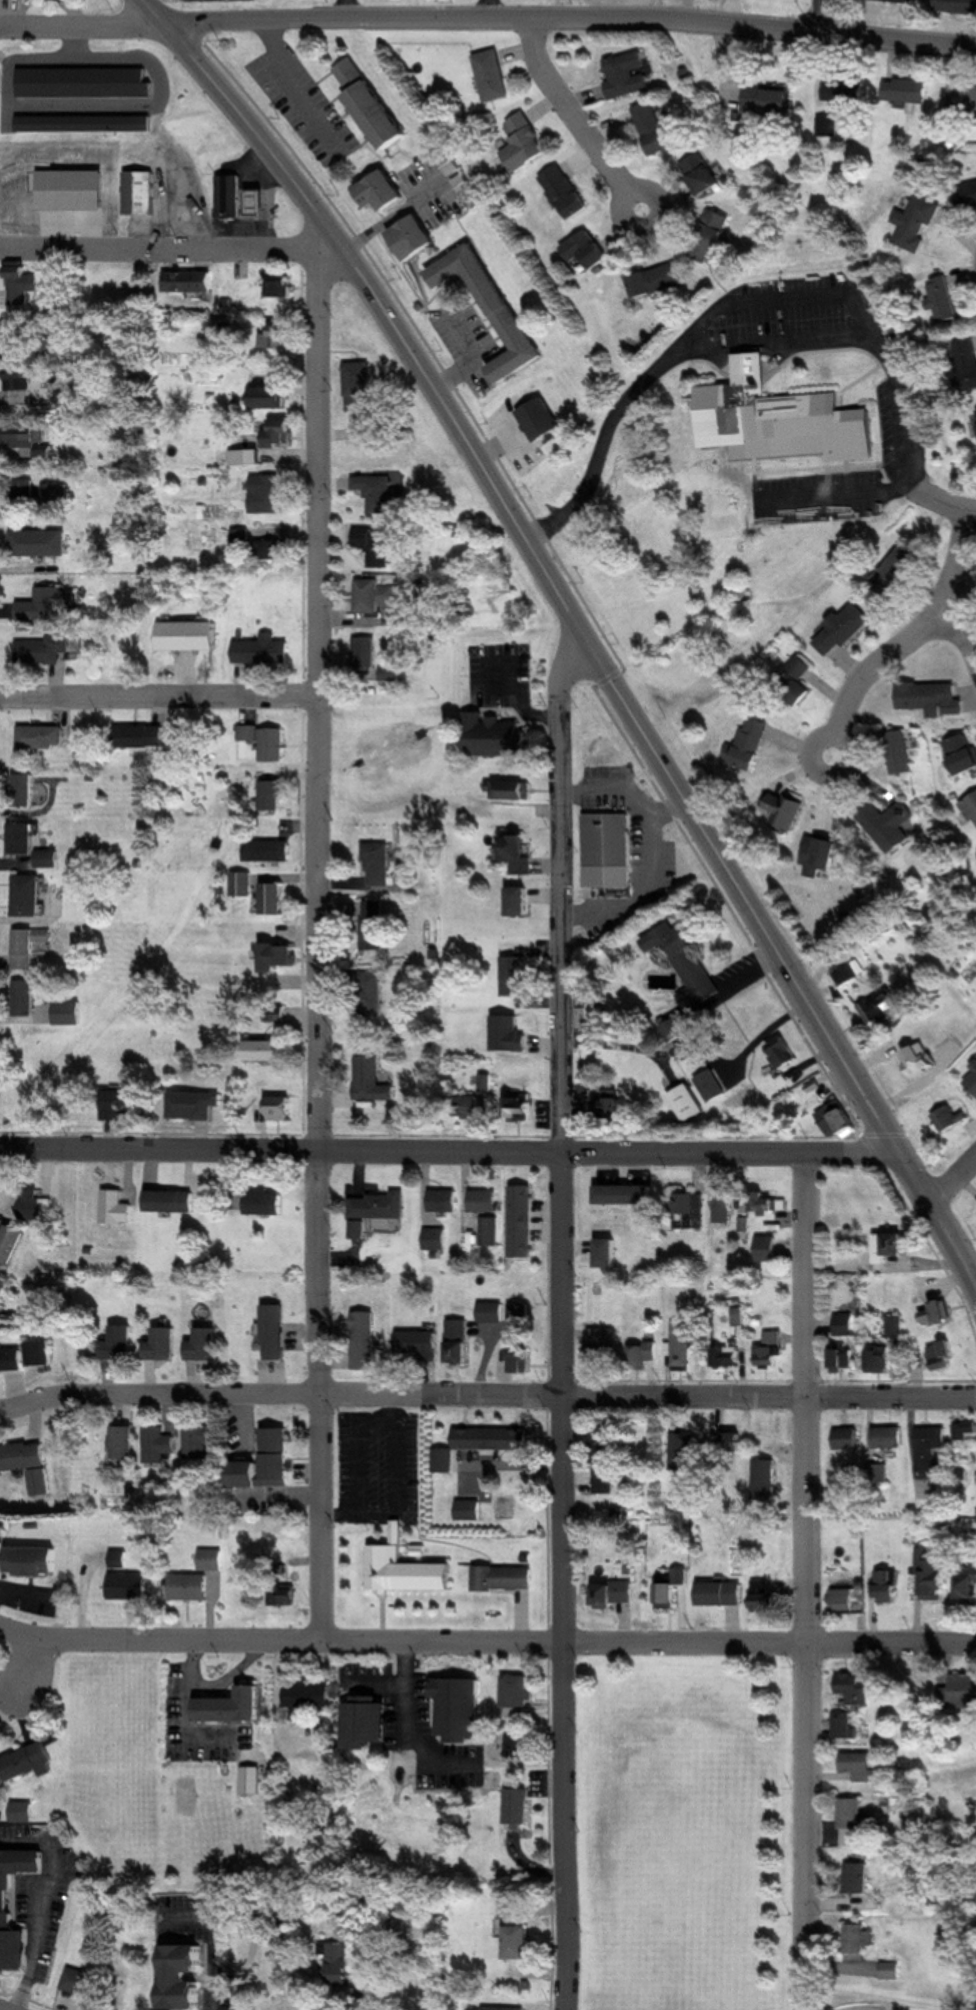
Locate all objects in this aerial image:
building: (893, 1)
building: (956, 7)
road: (827, 15)
road: (569, 18)
road: (81, 27)
building: (627, 75)
building: (494, 77)
building: (845, 91)
building: (906, 91)
building: (770, 100)
building: (962, 101)
building: (370, 104)
road: (248, 119)
road: (578, 120)
building: (93, 127)
building: (653, 129)
building: (526, 144)
building: (450, 164)
building: (701, 174)
building: (464, 185)
building: (72, 191)
building: (382, 192)
building: (567, 192)
building: (140, 194)
building: (967, 196)
building: (229, 197)
building: (258, 203)
building: (916, 223)
building: (708, 236)
building: (414, 238)
road: (172, 247)
building: (588, 253)
building: (189, 280)
building: (656, 281)
building: (21, 283)
building: (281, 286)
building: (941, 298)
road: (733, 302)
building: (493, 309)
parking lot: (789, 318)
building: (25, 336)
building: (276, 337)
road: (779, 342)
building: (968, 362)
building: (20, 384)
building: (358, 386)
building: (268, 397)
building: (777, 420)
building: (542, 421)
parking lot: (900, 429)
building: (281, 434)
building: (23, 437)
building: (243, 457)
building: (375, 492)
building: (24, 494)
building: (270, 495)
road: (837, 496)
parking lot: (817, 497)
road: (943, 503)
building: (38, 542)
building: (378, 545)
building: (276, 551)
road: (539, 558)
building: (899, 572)
road: (954, 592)
building: (374, 595)
building: (44, 605)
building: (844, 630)
building: (188, 635)
building: (41, 651)
building: (261, 651)
building: (363, 653)
road: (872, 670)
building: (797, 682)
road: (318, 696)
road: (159, 697)
building: (932, 698)
building: (140, 736)
building: (42, 737)
building: (500, 738)
building: (265, 741)
building: (753, 743)
building: (897, 753)
building: (962, 754)
building: (24, 790)
building: (516, 790)
building: (273, 795)
building: (970, 808)
building: (786, 810)
building: (888, 825)
building: (607, 839)
building: (31, 845)
building: (269, 851)
building: (519, 853)
building: (821, 855)
building: (379, 864)
building: (611, 880)
building: (243, 883)
building: (27, 894)
building: (276, 898)
building: (935, 917)
building: (374, 925)
building: (28, 946)
building: (281, 955)
building: (686, 962)
building: (846, 974)
building: (517, 975)
building: (371, 995)
building: (25, 997)
building: (878, 1007)
building: (67, 1012)
building: (273, 1013)
road: (826, 1038)
building: (264, 1050)
building: (783, 1052)
building: (917, 1060)
building: (371, 1080)
building: (972, 1083)
building: (711, 1085)
building: (688, 1103)
building: (613, 1104)
building: (122, 1105)
building: (193, 1105)
building: (468, 1106)
building: (521, 1107)
building: (281, 1108)
building: (948, 1119)
building: (836, 1120)
road: (572, 1141)
road: (164, 1148)
road: (610, 1153)
road: (951, 1177)
building: (528, 1192)
building: (443, 1200)
building: (166, 1201)
building: (483, 1201)
building: (266, 1204)
building: (767, 1204)
building: (36, 1205)
building: (379, 1206)
building: (117, 1207)
building: (723, 1208)
building: (681, 1213)
building: (435, 1239)
building: (11, 1244)
road: (951, 1245)
building: (890, 1247)
building: (767, 1249)
building: (622, 1254)
road: (881, 1268)
building: (2, 1290)
building: (491, 1313)
building: (519, 1313)
building: (936, 1315)
building: (844, 1325)
building: (895, 1327)
building: (275, 1332)
building: (364, 1340)
building: (120, 1344)
building: (418, 1344)
building: (161, 1345)
building: (202, 1345)
building: (682, 1347)
building: (602, 1348)
building: (771, 1350)
building: (38, 1354)
building: (642, 1355)
building: (944, 1356)
building: (727, 1357)
building: (843, 1358)
building: (11, 1360)
building: (520, 1361)
building: (879, 1361)
road: (487, 1396)
road: (328, 1397)
building: (965, 1433)
building: (888, 1437)
building: (849, 1438)
building: (200, 1442)
building: (730, 1442)
building: (157, 1444)
building: (122, 1446)
building: (683, 1452)
building: (932, 1453)
building: (444, 1461)
building: (267, 1462)
building: (604, 1462)
building: (27, 1464)
building: (519, 1468)
building: (880, 1472)
building: (766, 1479)
building: (507, 1507)
building: (470, 1510)
building: (210, 1559)
building: (33, 1561)
building: (408, 1569)
building: (505, 1578)
building: (938, 1579)
road: (804, 1581)
building: (967, 1584)
building: (888, 1585)
building: (128, 1586)
building: (188, 1587)
building: (668, 1591)
building: (616, 1593)
building: (721, 1594)
building: (286, 1596)
building: (764, 1596)
building: (843, 1601)
road: (160, 1642)
road: (447, 1642)
road: (772, 1642)
road: (41, 1668)
building: (853, 1688)
building: (517, 1691)
building: (960, 1693)
building: (311, 1695)
building: (233, 1707)
building: (367, 1722)
building: (844, 1727)
building: (250, 1754)
building: (28, 1763)
building: (859, 1766)
building: (518, 1807)
building: (22, 1812)
building: (853, 1822)
road: (571, 1825)
park: (686, 1837)
building: (859, 1878)
building: (7, 1902)
road: (49, 1903)
building: (250, 1918)
building: (515, 1931)
road: (212, 1939)
building: (860, 1942)
building: (340, 1963)
building: (890, 1971)
building: (184, 1978)
building: (80, 1991)
road: (26, 1999)
building: (297, 2001)
building: (491, 2009)

